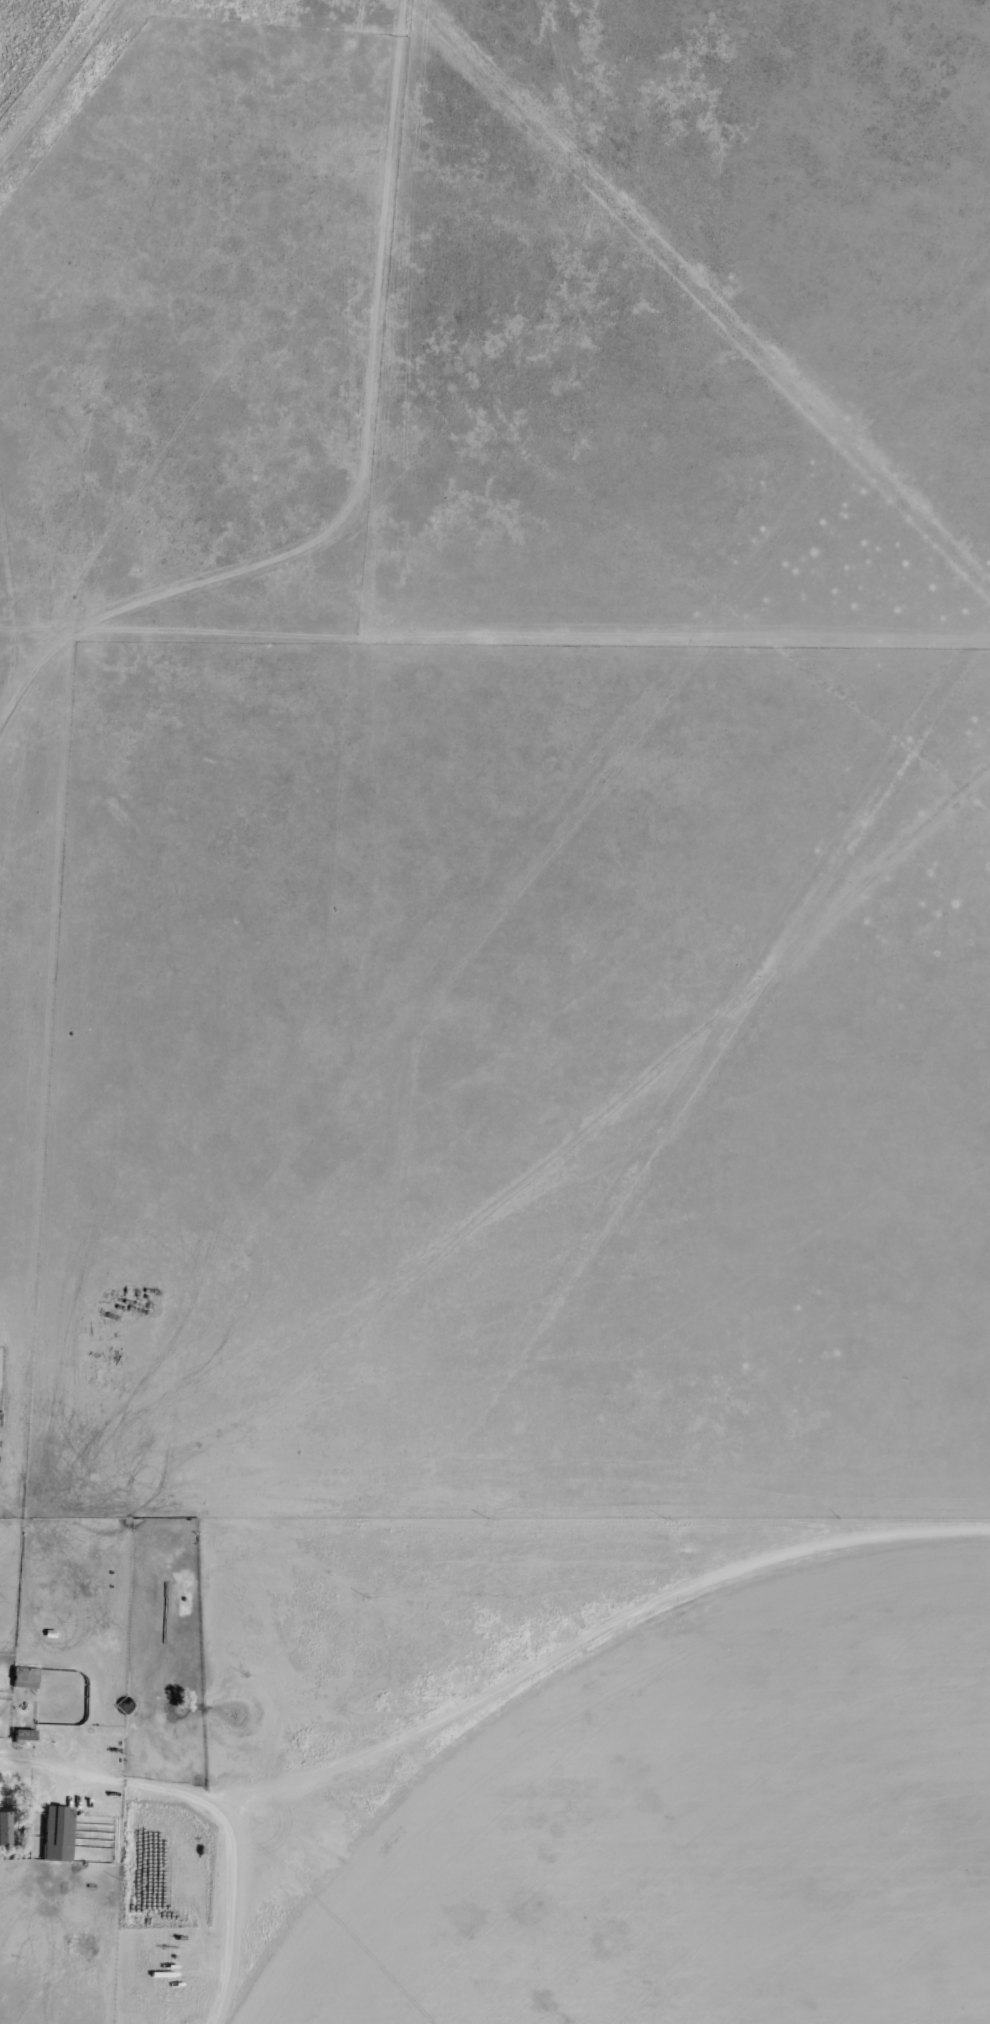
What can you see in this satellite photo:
crop: (20, 23)
road: (241, 1793)
crop: (719, 1850)

